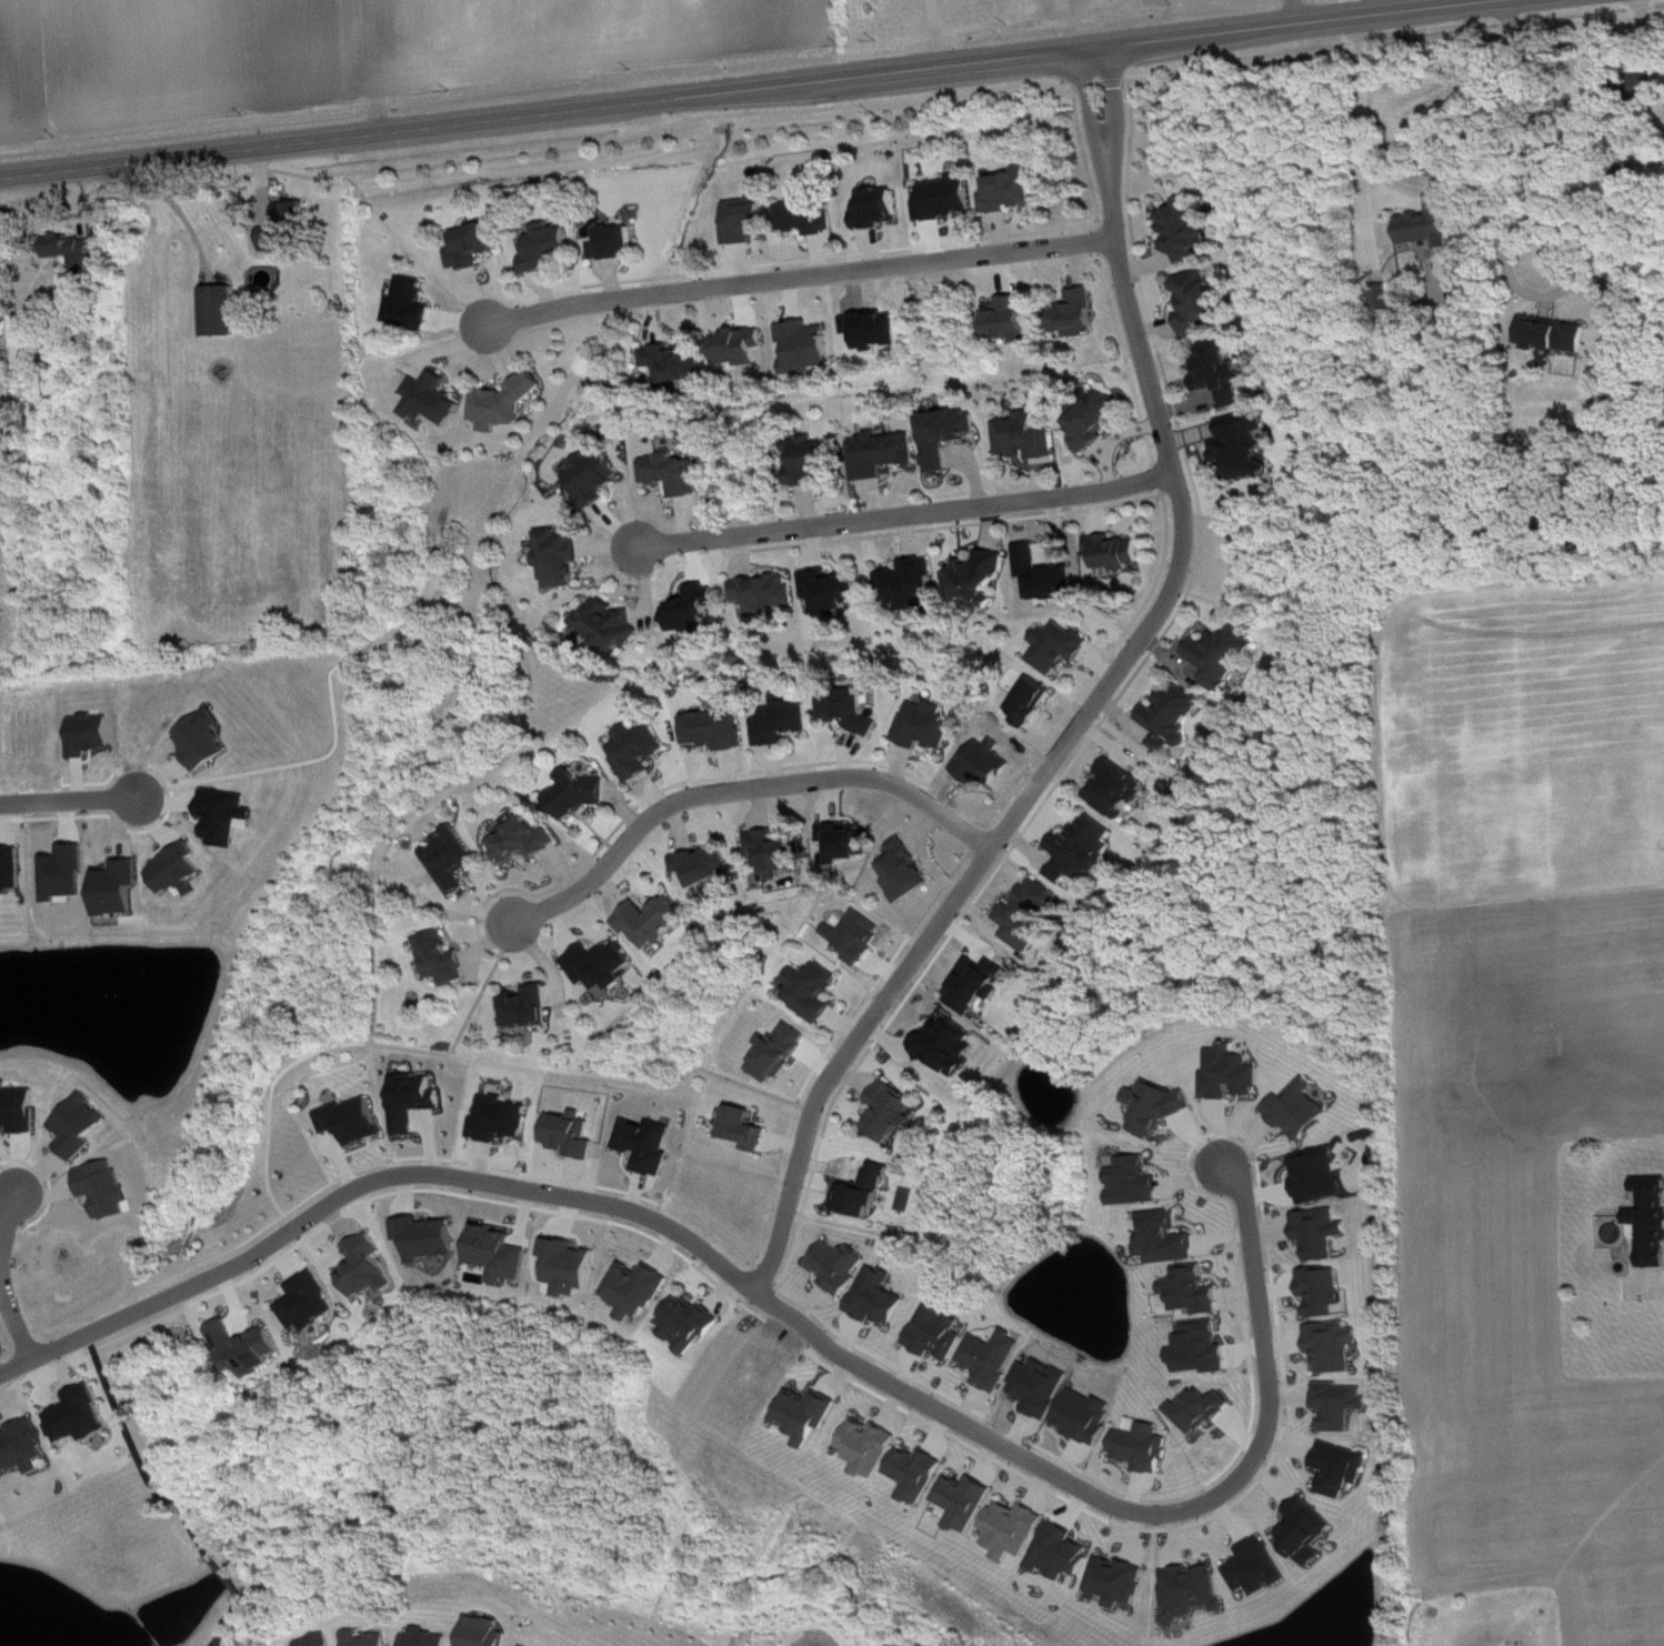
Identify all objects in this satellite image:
road: (1371, 7)
road: (1292, 11)
road: (933, 31)
building: (1651, 83)
building: (1606, 84)
road: (741, 86)
road: (1361, 106)
road: (1527, 143)
building: (1001, 188)
building: (935, 194)
building: (880, 208)
building: (800, 210)
building: (1431, 223)
building: (290, 225)
building: (1186, 229)
building: (607, 238)
building: (478, 244)
building: (549, 247)
building: (80, 251)
road: (794, 274)
building: (1200, 301)
building: (411, 303)
building: (221, 310)
building: (1079, 311)
building: (1011, 319)
building: (1555, 334)
building: (26, 340)
building: (808, 345)
building: (741, 347)
building: (678, 363)
building: (1223, 372)
building: (434, 399)
building: (509, 402)
building: (1100, 419)
building: (950, 434)
building: (1029, 436)
building: (1244, 445)
building: (884, 453)
building: (813, 460)
building: (676, 473)
building: (597, 478)
road: (908, 512)
building: (1119, 552)
building: (563, 556)
building: (1047, 574)
building: (980, 576)
building: (911, 584)
road: (581, 591)
building: (833, 591)
building: (768, 593)
building: (696, 610)
road: (411, 620)
road: (497, 624)
building: (612, 624)
road: (513, 630)
building: (1062, 648)
building: (1224, 655)
road: (1094, 699)
building: (1033, 701)
building: (851, 709)
building: (1174, 715)
building: (783, 720)
building: (929, 725)
building: (718, 729)
building: (206, 741)
building: (640, 750)
road: (739, 786)
building: (1122, 790)
building: (580, 794)
road: (66, 796)
road: (407, 813)
building: (525, 840)
building: (1084, 849)
building: (778, 854)
building: (455, 860)
building: (705, 865)
building: (12, 869)
building: (181, 871)
building: (908, 871)
building: (117, 891)
building: (1031, 912)
building: (653, 921)
building: (859, 935)
building: (444, 957)
building: (602, 965)
building: (978, 984)
road: (481, 987)
building: (813, 990)
building: (529, 1007)
building: (780, 1052)
building: (1233, 1073)
road: (594, 1076)
building: (417, 1100)
building: (1160, 1106)
building: (19, 1107)
building: (1303, 1110)
building: (892, 1111)
building: (502, 1118)
building: (357, 1121)
building: (82, 1126)
building: (748, 1128)
building: (572, 1131)
building: (649, 1144)
building: (1321, 1175)
road: (370, 1181)
building: (1136, 1182)
building: (865, 1192)
road: (7, 1210)
building: (1652, 1218)
building: (1323, 1232)
building: (1166, 1238)
building: (501, 1254)
building: (370, 1266)
building: (570, 1266)
building: (841, 1266)
building: (638, 1289)
building: (1195, 1291)
building: (1325, 1291)
building: (880, 1297)
building: (312, 1302)
road: (17, 1324)
building: (690, 1324)
building: (940, 1331)
building: (1335, 1346)
building: (249, 1349)
building: (995, 1358)
building: (1342, 1404)
building: (808, 1414)
building: (82, 1416)
building: (1145, 1447)
building: (22, 1448)
road: (138, 1452)
building: (1343, 1468)
building: (919, 1473)
building: (968, 1502)
road: (1136, 1512)
building: (1016, 1529)
building: (1309, 1530)
building: (1063, 1552)
building: (1260, 1567)
road: (224, 1574)
building: (1121, 1580)
building: (1194, 1590)
road: (228, 1620)
building: (488, 1633)
building: (371, 1639)
building: (432, 1639)
building: (322, 1640)
road: (213, 1644)
building: (527, 1645)

